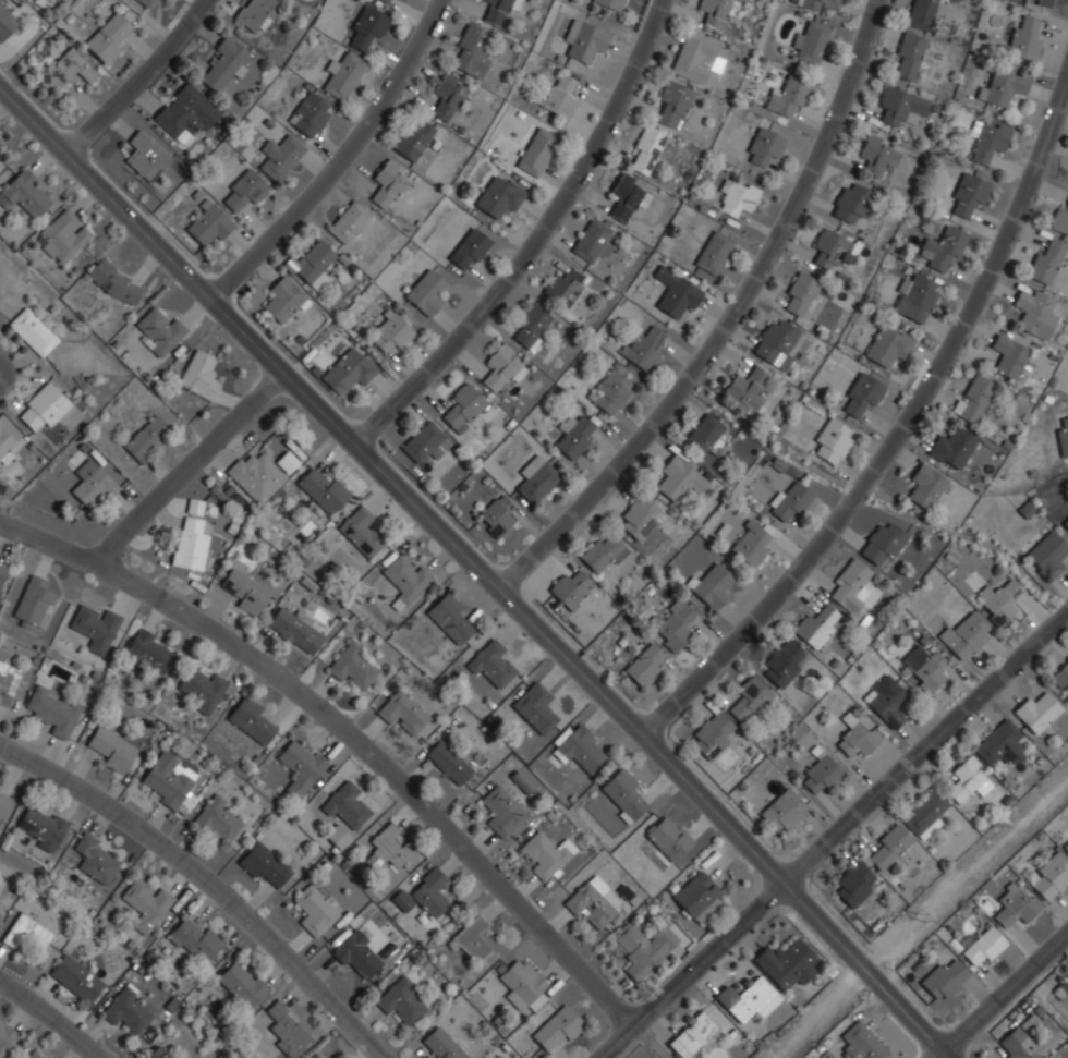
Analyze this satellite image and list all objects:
building: (0, 0)
building: (385, 0)
building: (1044, 1)
building: (144, 2)
building: (610, 3)
building: (818, 3)
building: (498, 10)
building: (717, 11)
building: (255, 12)
building: (921, 13)
building: (5, 23)
building: (366, 26)
building: (107, 37)
building: (1024, 38)
building: (585, 39)
building: (811, 42)
building: (472, 49)
building: (908, 54)
building: (695, 56)
building: (223, 63)
building: (65, 69)
building: (342, 75)
road: (137, 78)
building: (1004, 87)
building: (448, 95)
building: (559, 97)
building: (787, 97)
building: (673, 102)
building: (900, 107)
building: (185, 113)
building: (308, 113)
building: (413, 139)
building: (987, 139)
building: (764, 146)
building: (645, 149)
building: (536, 150)
building: (877, 151)
building: (0, 154)
building: (280, 155)
building: (145, 156)
road: (338, 158)
building: (388, 183)
building: (244, 190)
building: (26, 194)
building: (967, 194)
building: (628, 195)
building: (737, 195)
building: (497, 197)
building: (850, 202)
building: (1059, 220)
building: (349, 221)
building: (209, 223)
building: (62, 235)
road: (536, 240)
building: (591, 240)
building: (470, 248)
building: (832, 248)
building: (944, 248)
building: (714, 252)
building: (1046, 259)
building: (313, 263)
building: (113, 282)
building: (563, 287)
building: (675, 291)
building: (426, 292)
building: (799, 294)
building: (915, 297)
building: (283, 300)
building: (1035, 313)
road: (730, 318)
building: (532, 326)
building: (33, 331)
building: (160, 331)
building: (390, 331)
building: (776, 342)
building: (888, 345)
building: (643, 348)
building: (1008, 355)
building: (503, 366)
building: (348, 369)
building: (199, 375)
building: (747, 389)
building: (610, 391)
building: (862, 393)
building: (974, 398)
building: (43, 406)
building: (464, 406)
road: (899, 430)
building: (703, 435)
building: (1061, 435)
building: (147, 438)
building: (575, 438)
building: (832, 440)
building: (423, 441)
building: (5, 442)
building: (952, 448)
building: (291, 460)
road: (189, 467)
building: (255, 475)
building: (536, 478)
building: (680, 478)
road: (393, 483)
building: (94, 485)
building: (927, 487)
building: (323, 489)
building: (789, 500)
road: (878, 503)
building: (496, 515)
building: (640, 516)
building: (1065, 521)
building: (361, 531)
building: (191, 535)
building: (882, 543)
building: (750, 544)
building: (1044, 551)
building: (603, 552)
building: (2, 569)
building: (405, 580)
building: (713, 585)
building: (850, 585)
building: (571, 589)
building: (243, 591)
building: (34, 601)
building: (999, 601)
building: (599, 612)
building: (450, 618)
building: (672, 624)
building: (95, 627)
building: (815, 627)
building: (295, 630)
building: (964, 634)
building: (148, 650)
building: (494, 664)
building: (781, 664)
building: (643, 665)
building: (354, 667)
building: (923, 668)
building: (1061, 677)
building: (5, 684)
building: (201, 689)
building: (750, 698)
building: (887, 701)
building: (51, 707)
building: (535, 707)
building: (402, 712)
building: (1036, 712)
building: (251, 719)
road: (348, 733)
building: (713, 734)
building: (855, 735)
building: (1000, 744)
road: (925, 747)
building: (112, 749)
building: (582, 750)
building: (448, 762)
building: (301, 766)
building: (821, 774)
building: (168, 779)
building: (968, 779)
building: (521, 781)
building: (624, 795)
building: (3, 798)
building: (502, 811)
building: (784, 811)
building: (345, 813)
building: (924, 814)
building: (218, 819)
building: (40, 827)
building: (668, 839)
building: (390, 847)
building: (888, 847)
building: (1066, 847)
building: (547, 854)
building: (95, 859)
building: (265, 864)
building: (1052, 877)
road: (206, 881)
building: (853, 884)
building: (430, 895)
building: (699, 897)
building: (403, 900)
building: (590, 901)
building: (145, 904)
building: (1016, 905)
building: (315, 909)
power tower: (926, 925)
building: (27, 933)
building: (193, 938)
building: (472, 939)
building: (982, 946)
building: (645, 948)
building: (357, 956)
building: (786, 963)
road: (692, 970)
road: (866, 970)
building: (76, 978)
building: (945, 980)
building: (241, 983)
building: (522, 984)
building: (1061, 988)
road: (1003, 995)
building: (748, 998)
building: (400, 1000)
building: (128, 1010)
road: (50, 1018)
building: (557, 1026)
building: (286, 1030)
building: (695, 1036)
building: (7, 1037)
building: (862, 1043)
building: (442, 1044)
building: (1025, 1044)
building: (36, 1054)
building: (157, 1054)
building: (178, 1057)

